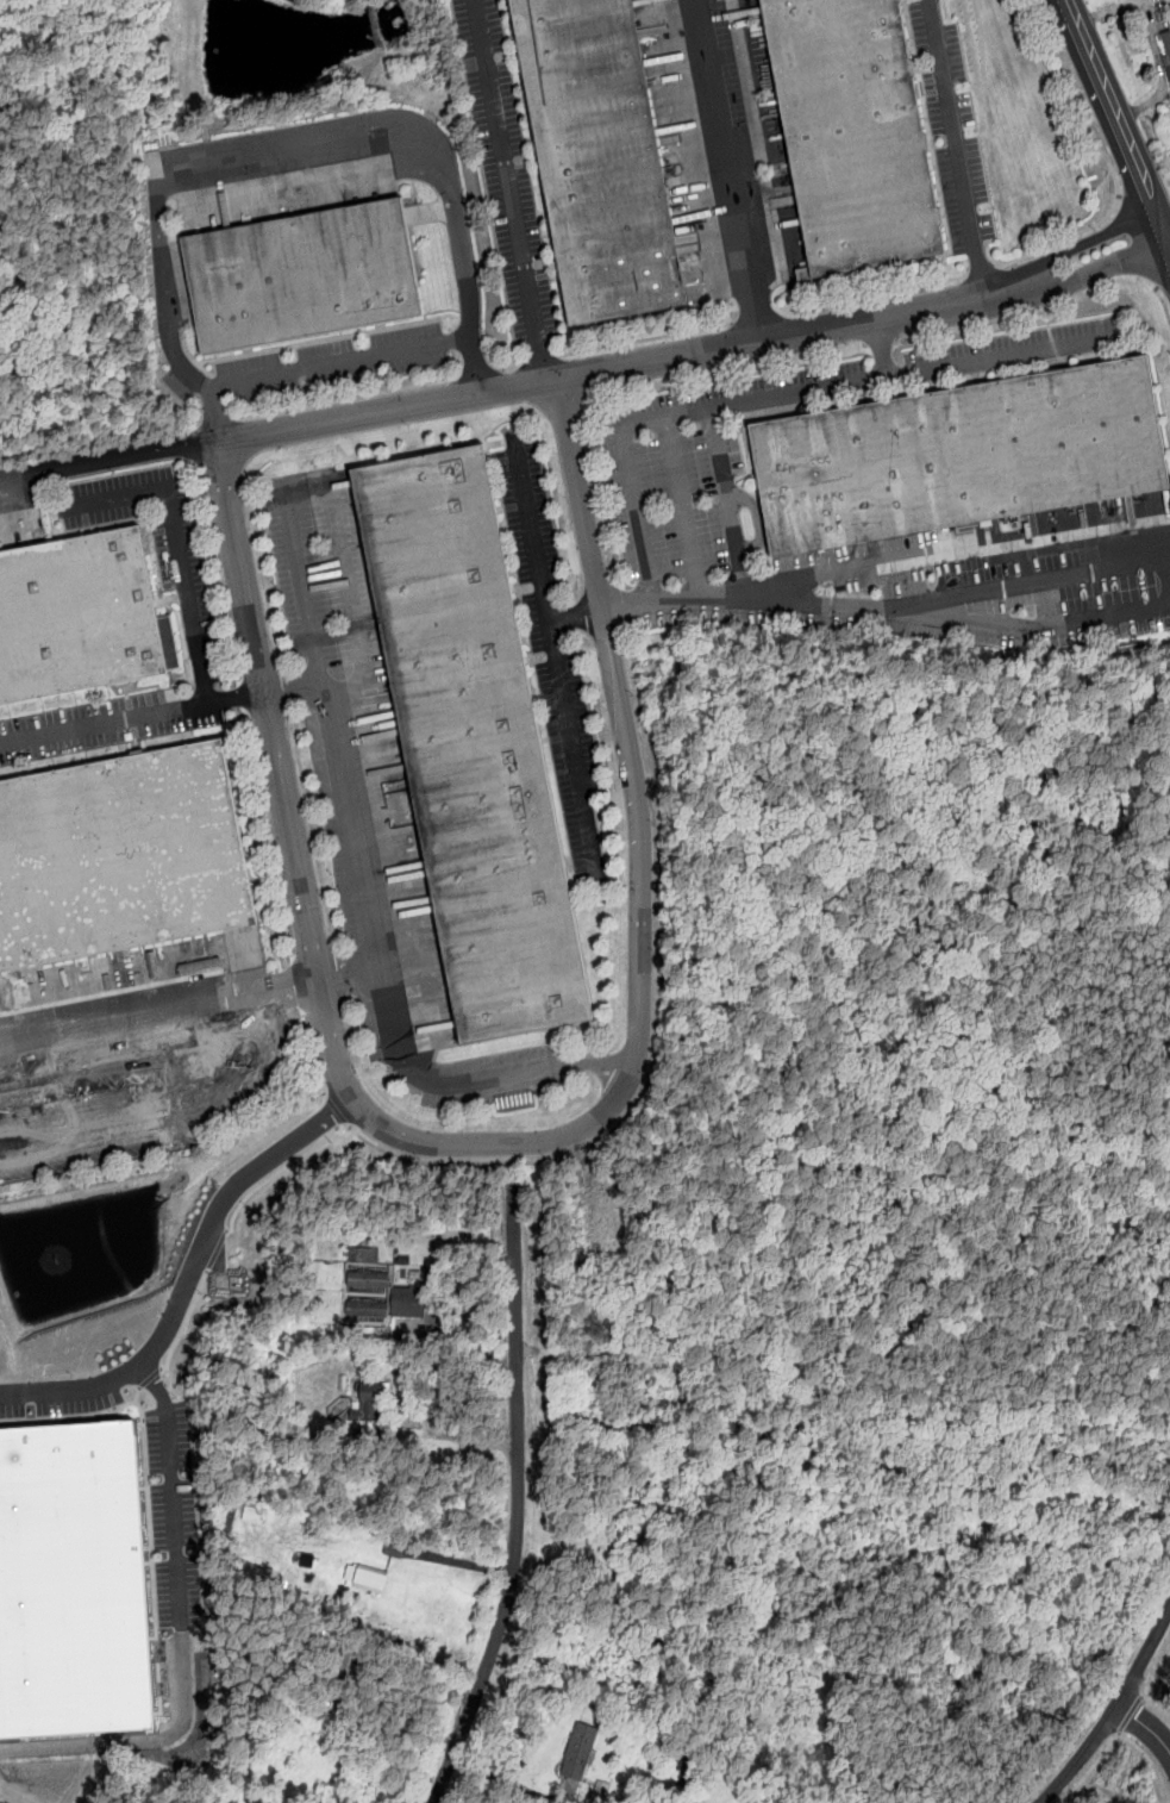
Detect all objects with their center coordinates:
building: (1166, 51)
road: (1115, 129)
building: (858, 131)
road: (955, 148)
road: (277, 149)
building: (602, 157)
road: (1109, 164)
road: (731, 171)
road: (509, 192)
road: (1083, 242)
road: (1095, 272)
road: (982, 273)
building: (307, 276)
road: (875, 297)
road: (1162, 301)
road: (758, 318)
road: (646, 341)
road: (1003, 354)
road: (339, 358)
road: (543, 360)
road: (511, 364)
road: (476, 370)
road: (621, 370)
road: (344, 395)
road: (689, 404)
road: (200, 414)
road: (213, 422)
road: (196, 445)
building: (962, 455)
road: (108, 457)
road: (597, 489)
road: (581, 495)
road: (728, 498)
road: (687, 500)
road: (758, 519)
road: (179, 544)
road: (884, 560)
road: (242, 563)
road: (218, 573)
road: (302, 580)
road: (958, 601)
road: (621, 610)
road: (575, 614)
building: (77, 618)
road: (556, 659)
road: (294, 682)
road: (237, 693)
road: (240, 695)
road: (105, 722)
building: (475, 747)
road: (268, 835)
building: (121, 857)
road: (659, 904)
road: (331, 974)
road: (298, 986)
road: (311, 1055)
road: (469, 1075)
road: (165, 1088)
road: (334, 1111)
road: (145, 1144)
road: (526, 1146)
road: (453, 1165)
road: (281, 1169)
road: (256, 1171)
building: (363, 1253)
building: (402, 1256)
building: (233, 1260)
building: (368, 1279)
building: (408, 1302)
building: (368, 1311)
road: (170, 1321)
road: (76, 1393)
building: (370, 1400)
road: (517, 1506)
road: (461, 1564)
building: (363, 1578)
building: (73, 1583)
road: (181, 1639)
road: (1144, 1695)
road: (1152, 1704)
road: (1112, 1709)
road: (1131, 1714)
road: (1143, 1728)
road: (1119, 1735)
road: (1125, 1739)
building: (580, 1751)

